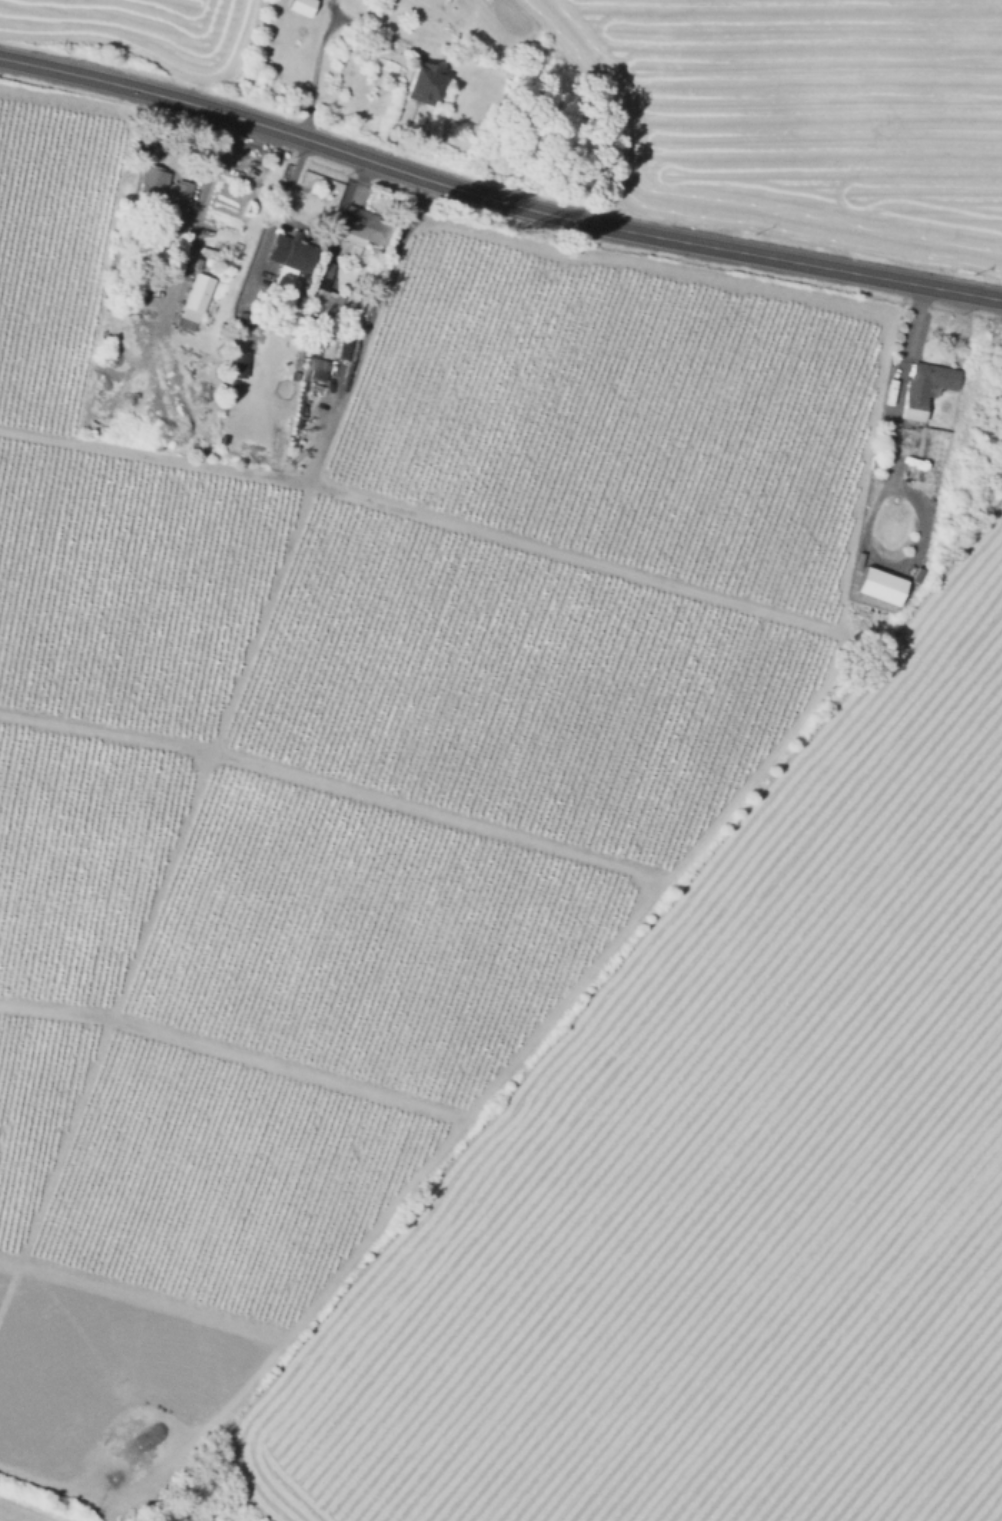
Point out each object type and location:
building: (299, 6)
crop: (144, 30)
road: (314, 74)
building: (425, 83)
crop: (804, 119)
building: (162, 193)
road: (495, 202)
road: (196, 208)
road: (269, 223)
building: (369, 226)
building: (354, 254)
building: (298, 256)
building: (195, 261)
building: (286, 281)
building: (199, 290)
building: (324, 302)
road: (362, 329)
building: (927, 381)
building: (914, 411)
building: (909, 424)
building: (919, 455)
road: (154, 456)
road: (900, 489)
road: (565, 554)
building: (877, 584)
building: (895, 594)
road: (161, 877)
road: (650, 892)
crop: (724, 1180)
crop: (36, 1508)

